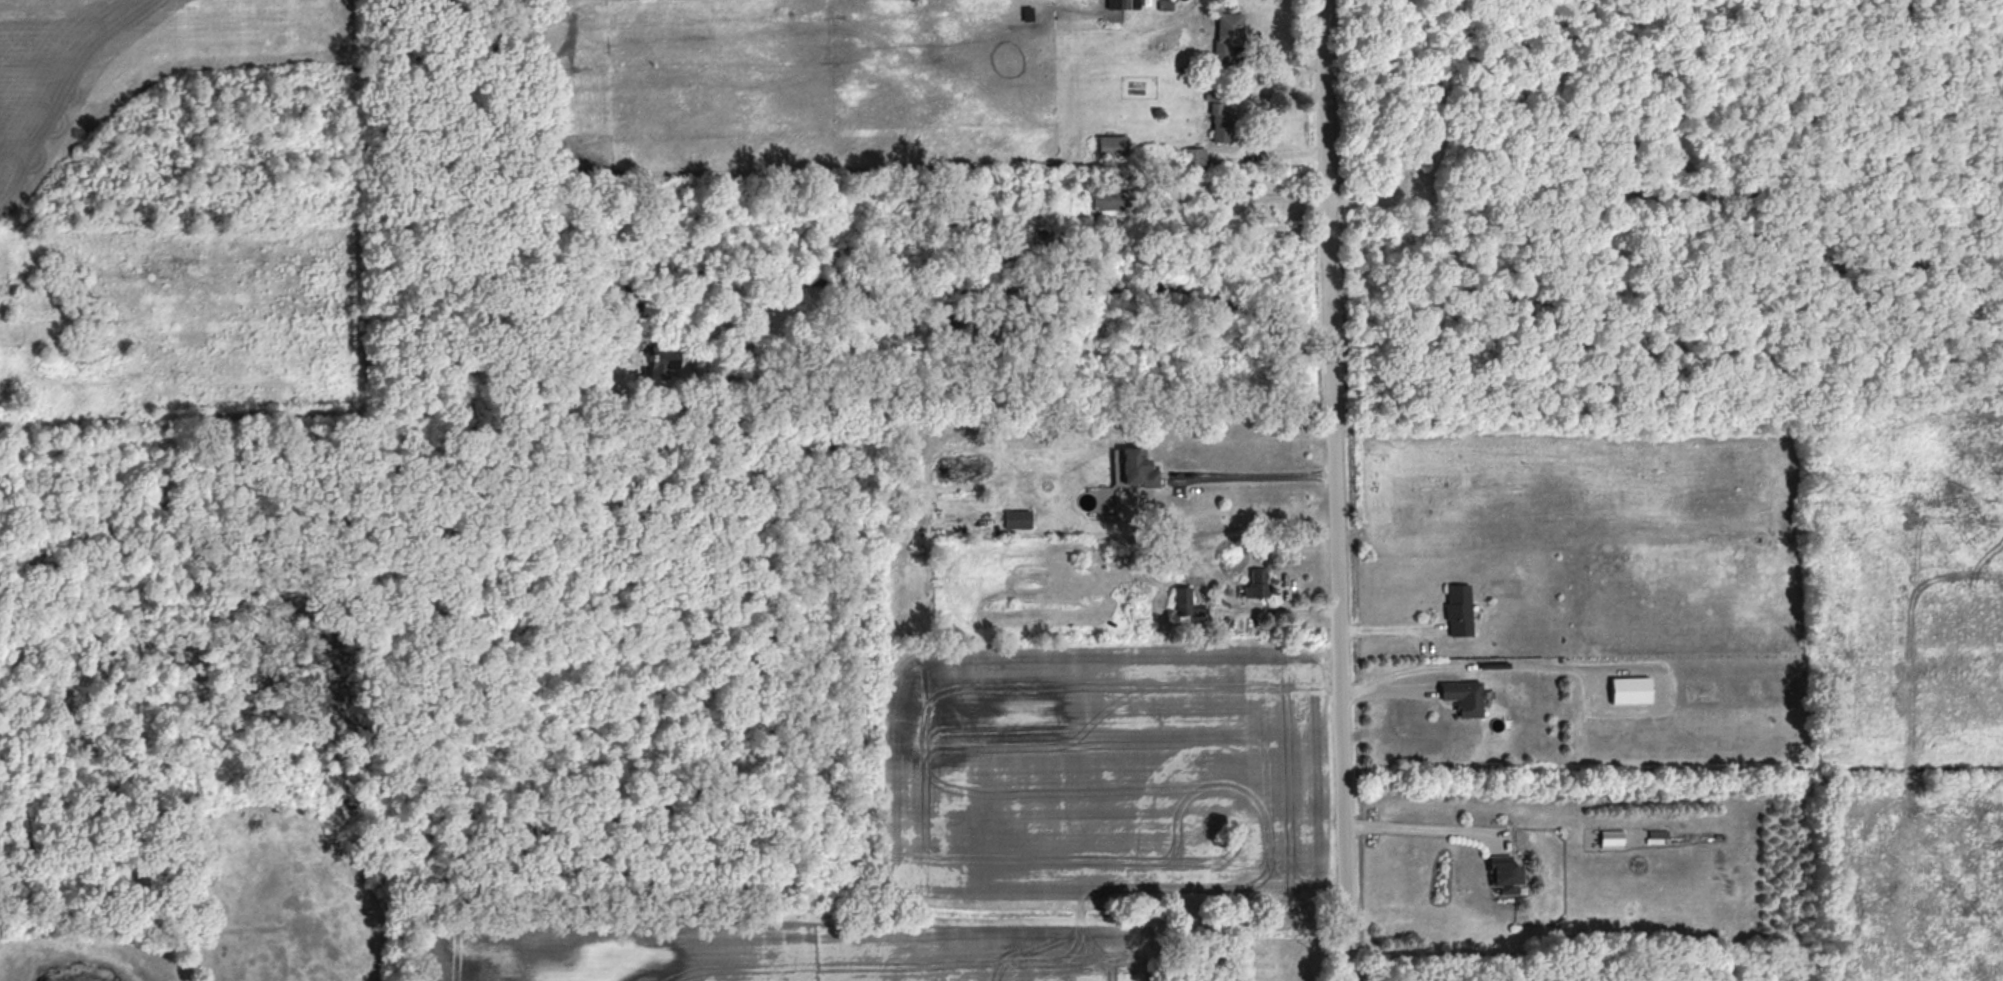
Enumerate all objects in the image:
building: (1117, 4)
building: (1227, 35)
building: (1220, 124)
building: (1112, 146)
road: (1269, 155)
building: (1194, 159)
building: (1108, 200)
road: (985, 291)
building: (661, 362)
building: (1136, 468)
road: (1251, 475)
road: (1335, 490)
building: (1017, 519)
building: (1257, 583)
building: (1186, 603)
building: (1458, 609)
building: (1630, 690)
building: (1463, 697)
road: (929, 708)
road: (793, 731)
road: (1421, 830)
building: (1611, 838)
building: (1504, 873)

